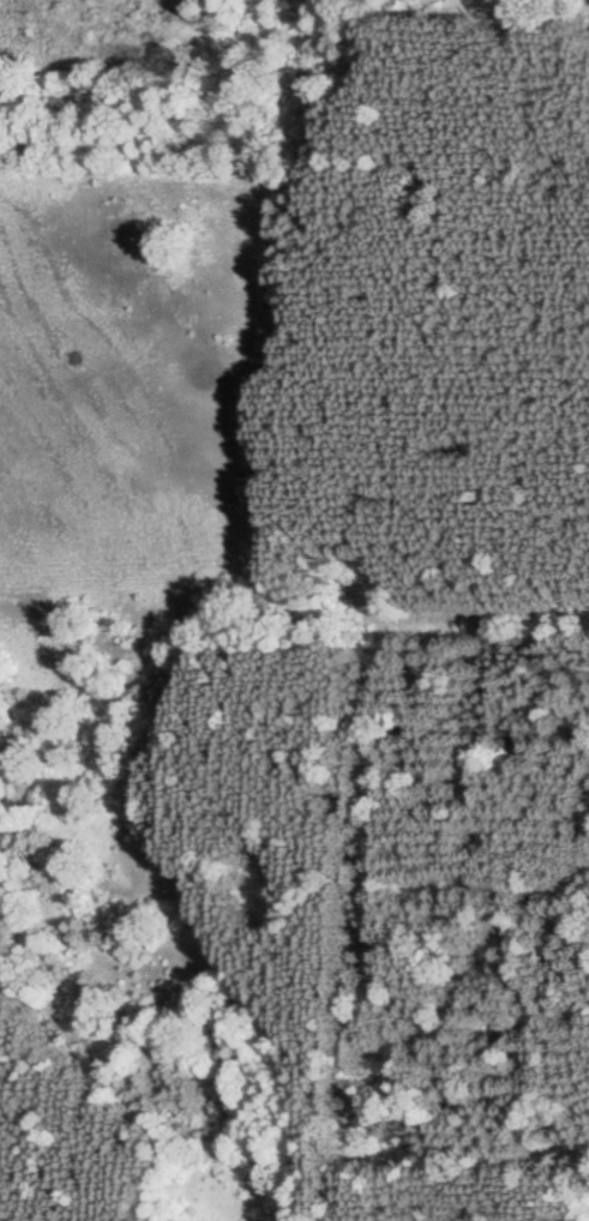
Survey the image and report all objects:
road: (289, 607)

